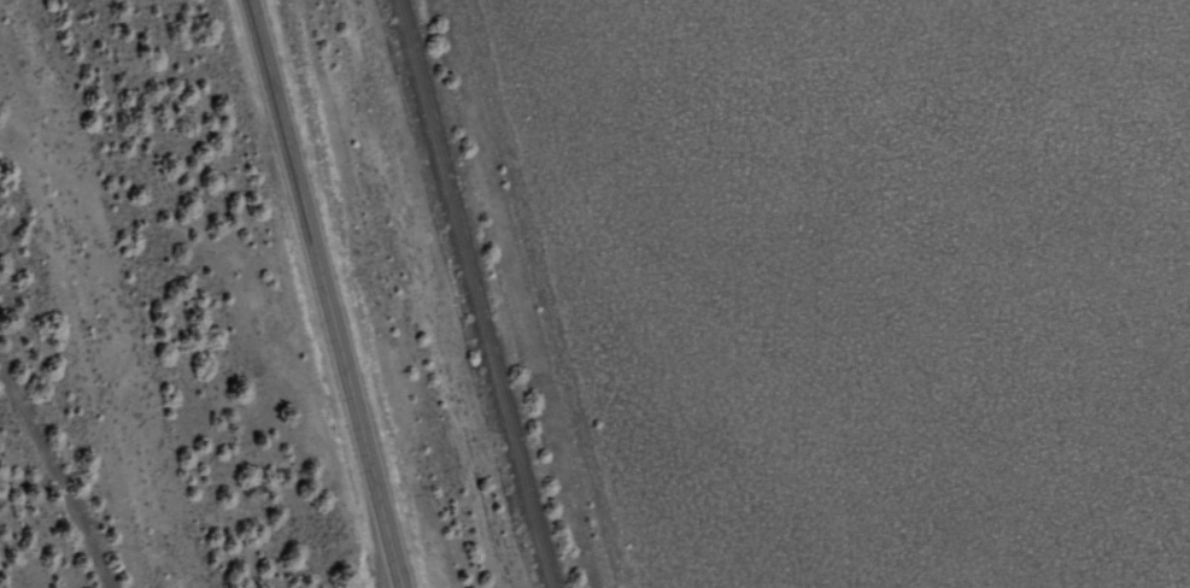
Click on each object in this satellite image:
road: (327, 293)
road: (58, 472)

